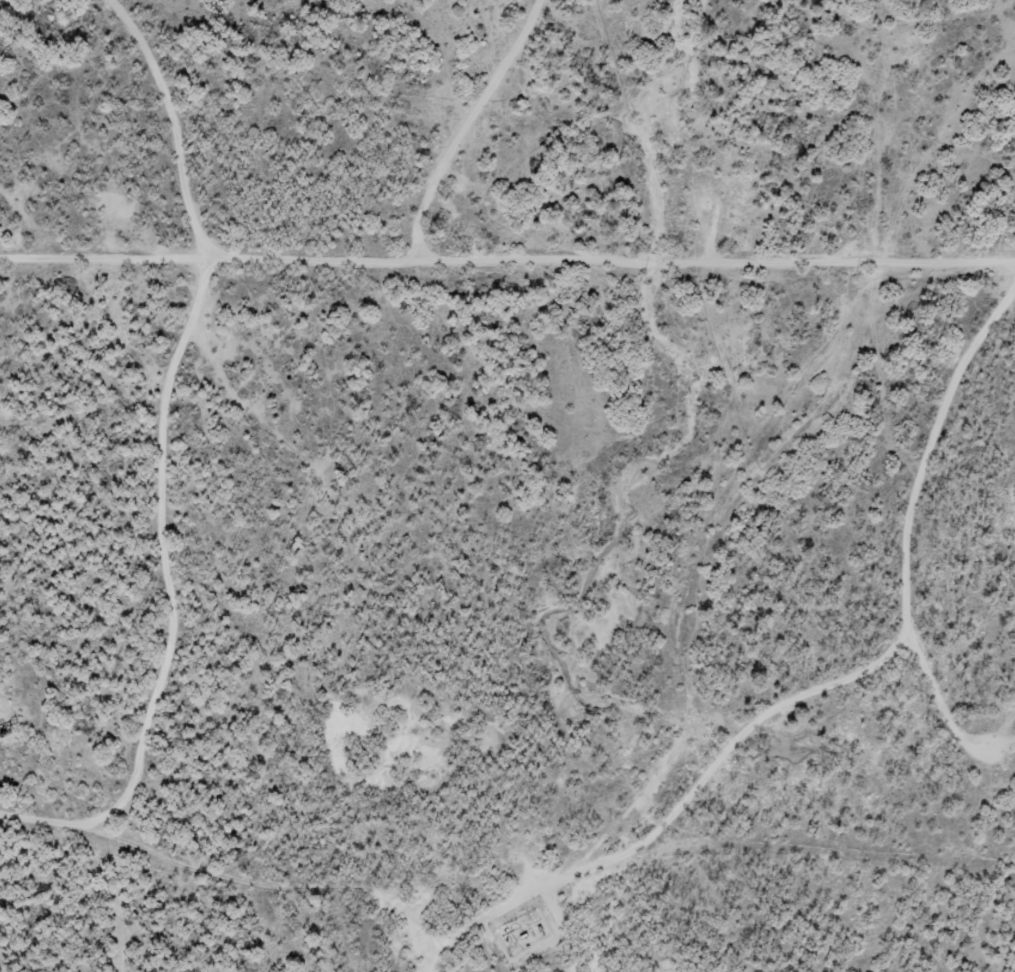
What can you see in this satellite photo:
road: (890, 175)
road: (955, 270)
road: (873, 699)

